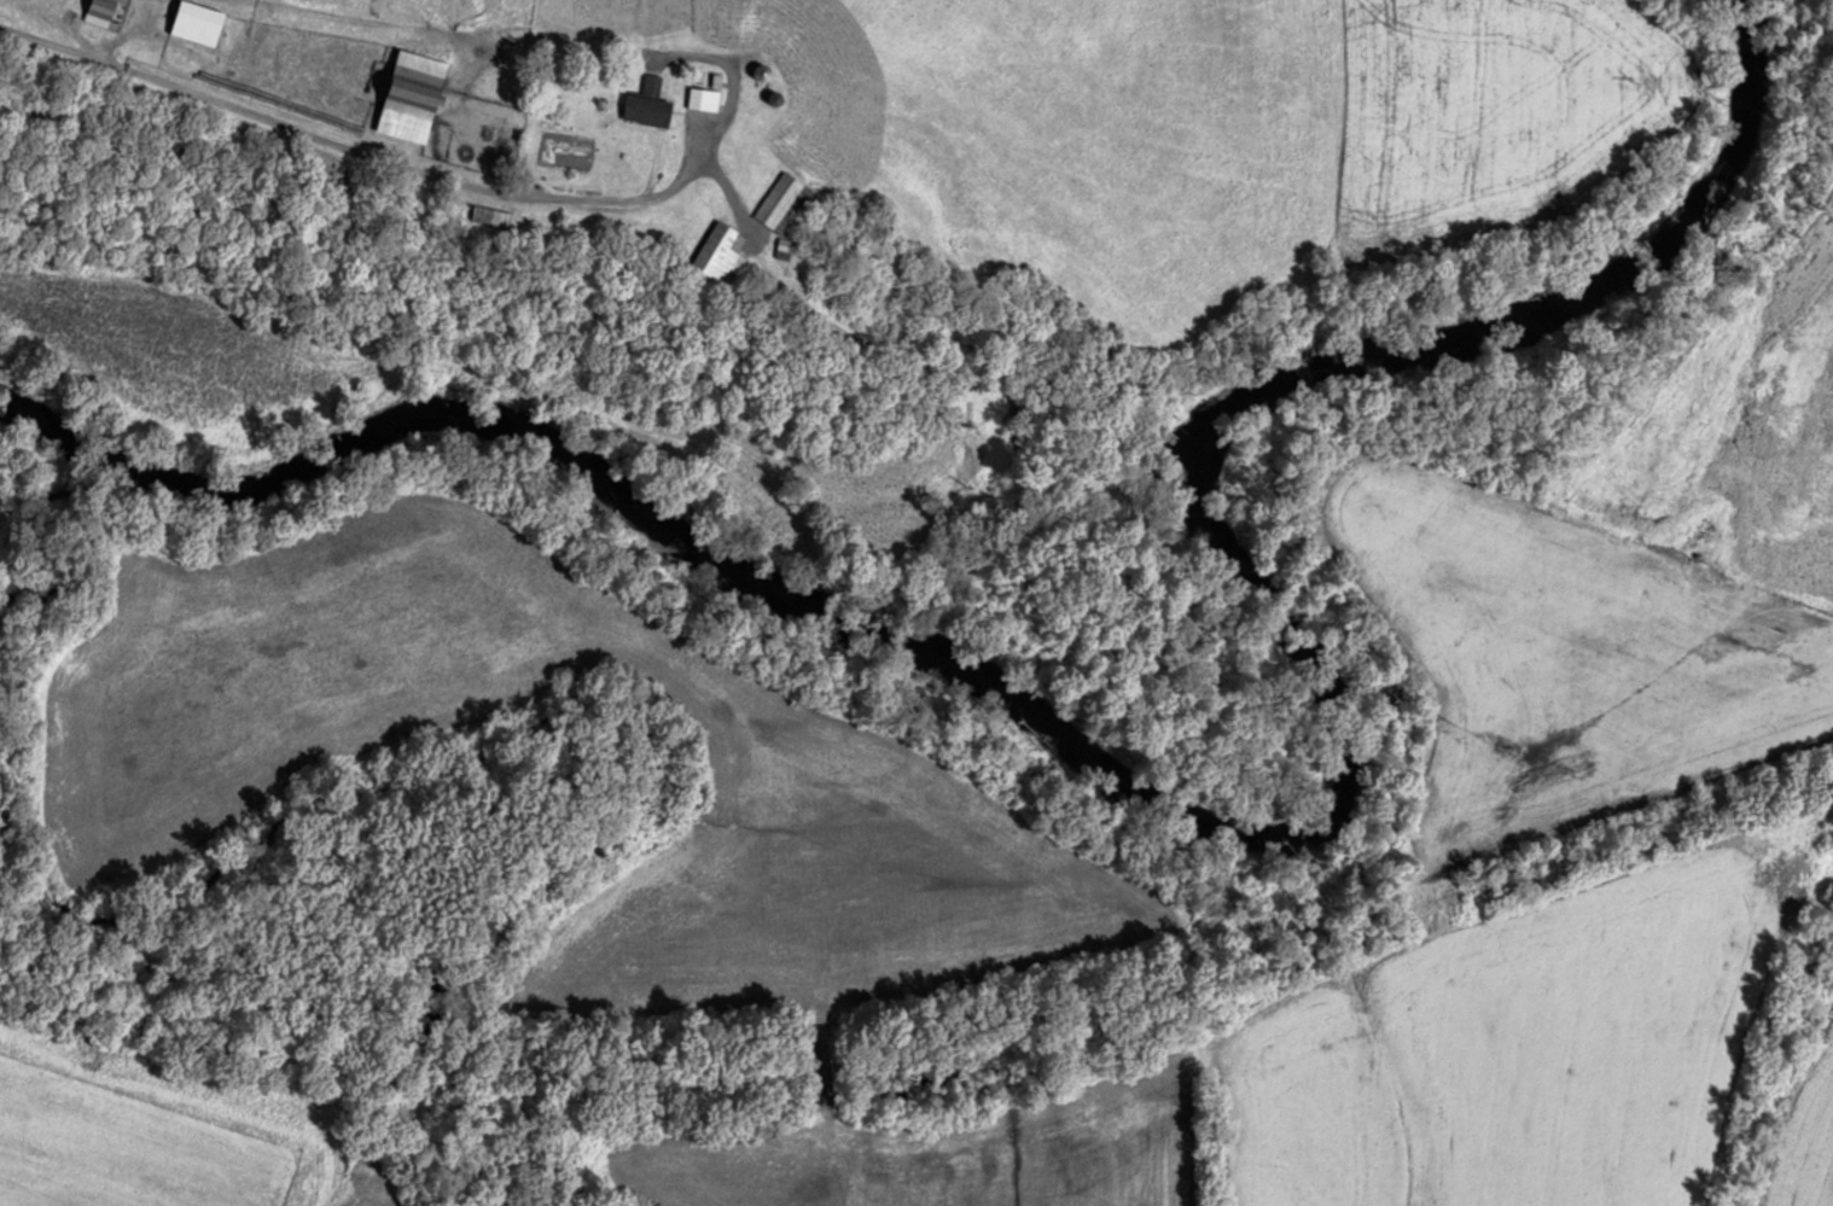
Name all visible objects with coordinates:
building: (97, 12)
building: (408, 97)
building: (704, 97)
building: (646, 104)
road: (351, 150)
building: (780, 203)
building: (488, 216)
building: (714, 256)

